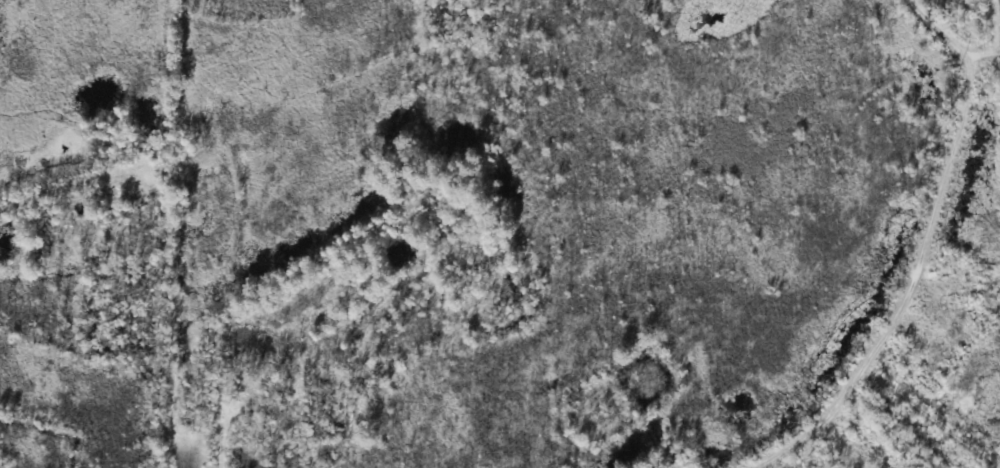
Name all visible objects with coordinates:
road: (921, 46)
road: (34, 171)
road: (864, 268)
road: (916, 408)

